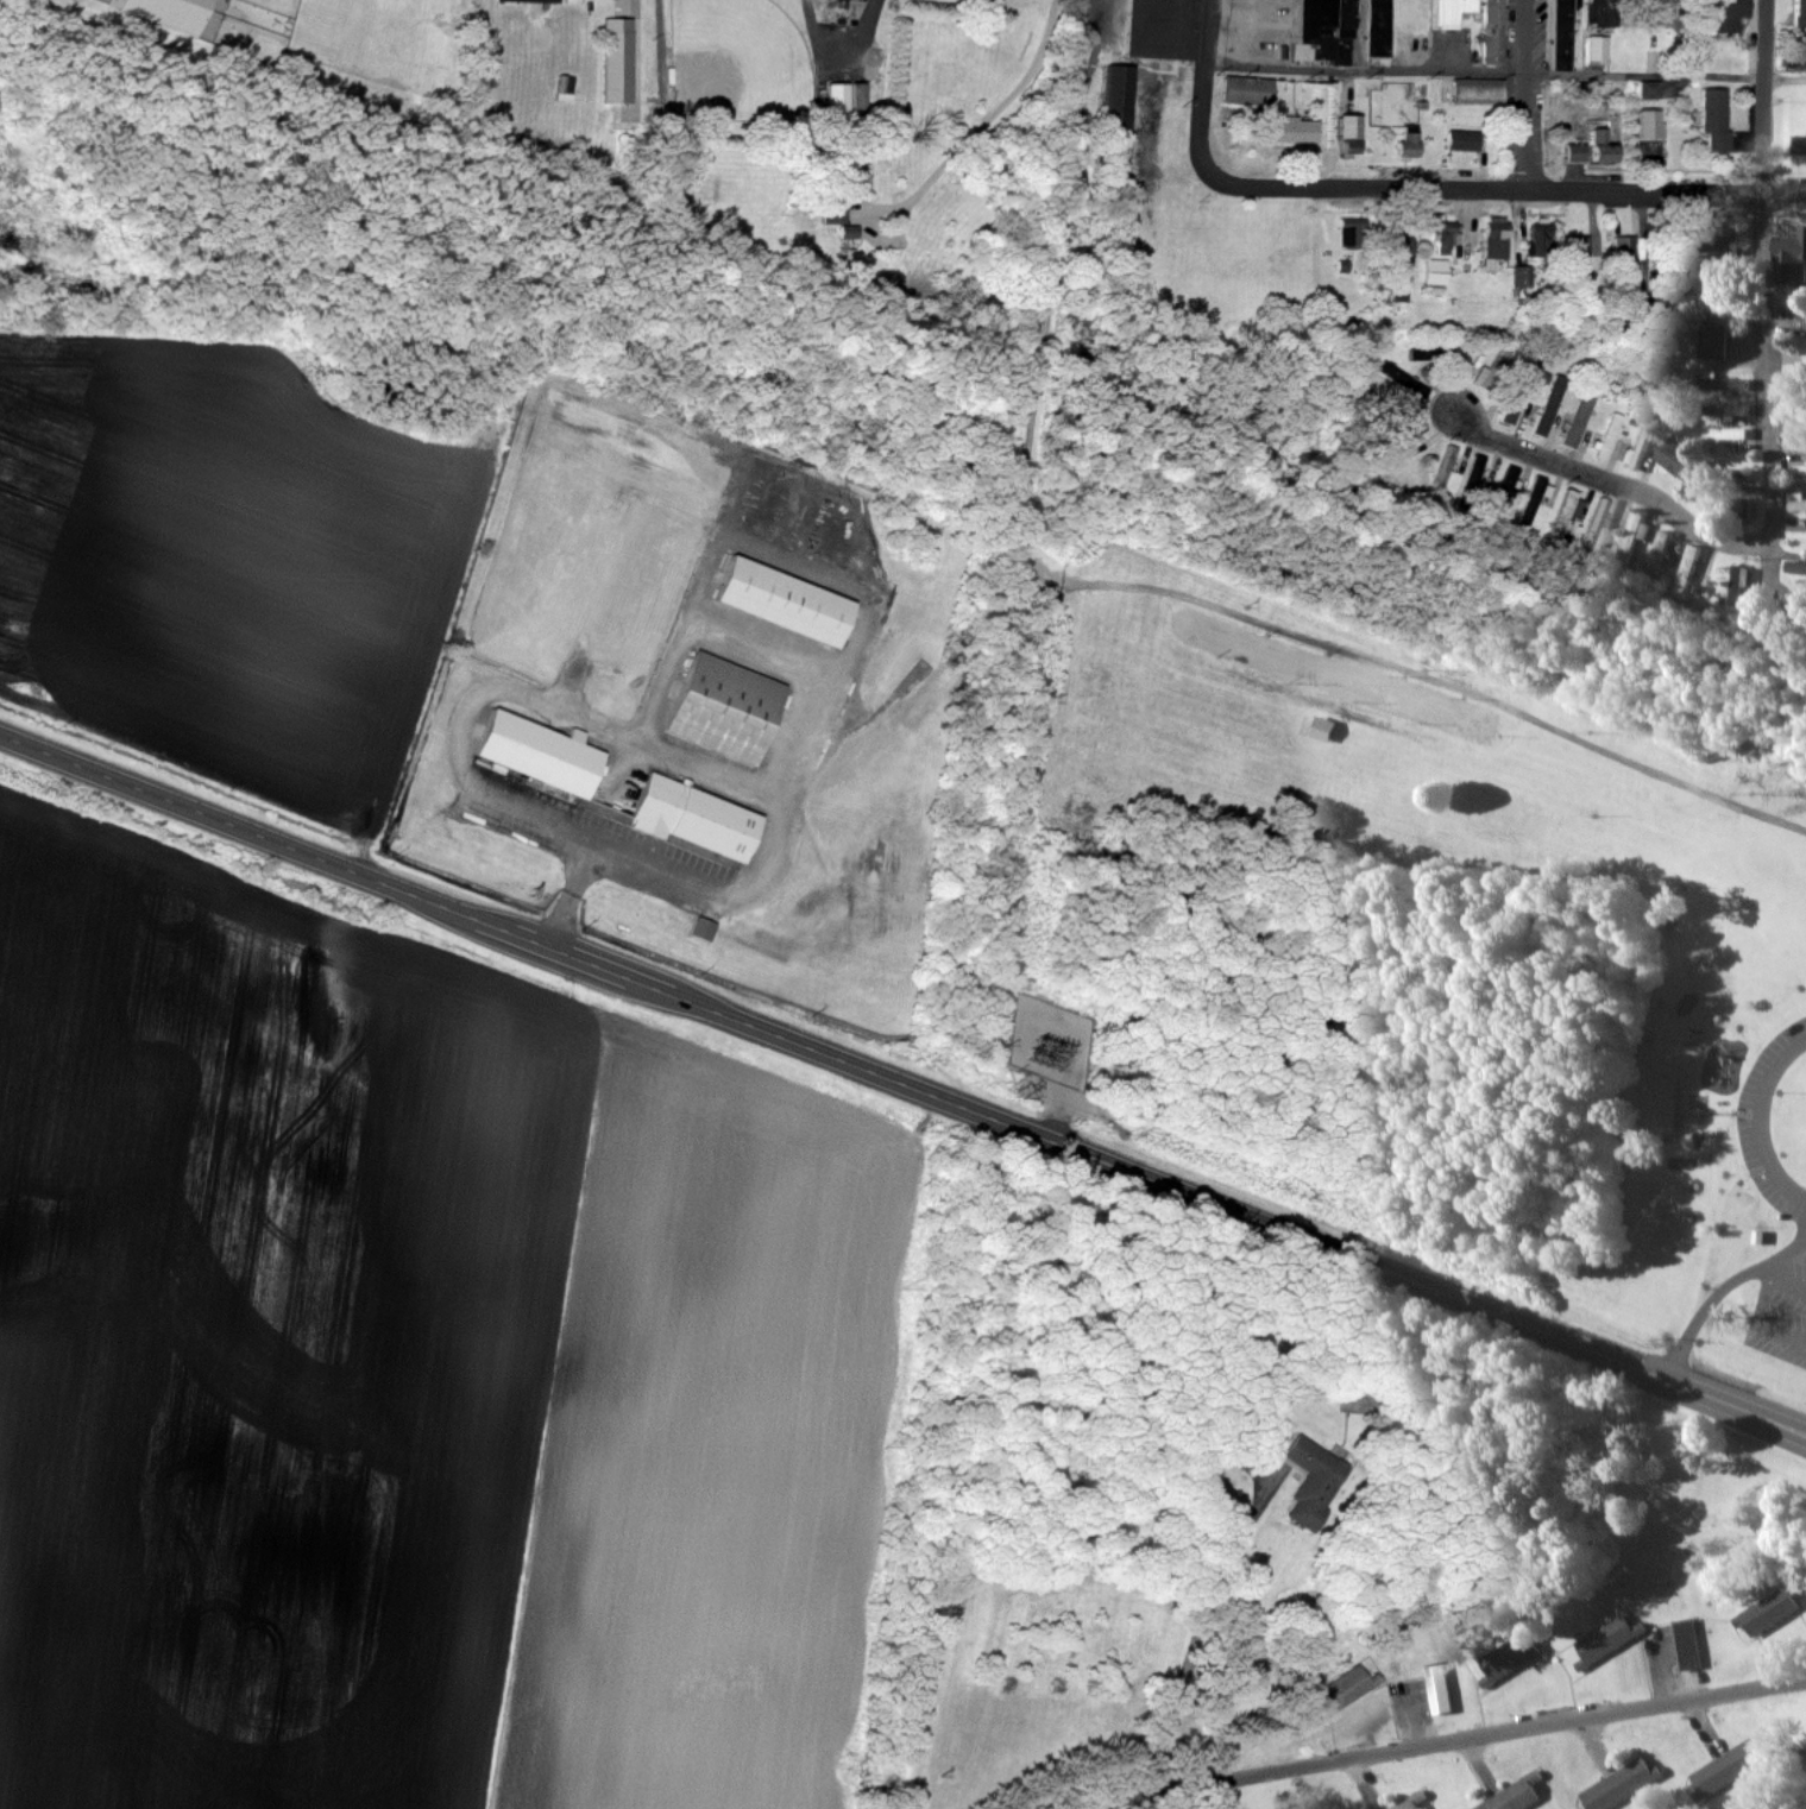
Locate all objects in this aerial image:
building: (399, 2)
building: (1453, 12)
building: (1800, 12)
building: (1663, 13)
building: (1736, 14)
building: (1164, 29)
building: (1345, 29)
building: (1497, 31)
building: (1599, 31)
building: (1565, 34)
road: (1486, 74)
road: (1786, 77)
building: (1651, 89)
road: (1203, 90)
building: (1248, 90)
building: (1479, 90)
road: (1766, 94)
road: (1519, 95)
building: (1120, 97)
building: (1718, 119)
road: (981, 125)
building: (1297, 130)
building: (1353, 137)
building: (1410, 141)
building: (1607, 147)
building: (1578, 151)
road: (1510, 190)
building: (1354, 234)
building: (1443, 237)
building: (1497, 238)
building: (1706, 239)
building: (1398, 240)
building: (1543, 244)
building: (1579, 251)
building: (1794, 267)
building: (1718, 341)
building: (1494, 368)
building: (1714, 379)
building: (1550, 410)
building: (1731, 410)
building: (1582, 417)
building: (1729, 434)
building: (1610, 435)
building: (1642, 443)
building: (1798, 445)
road: (1770, 468)
building: (1799, 469)
building: (1446, 472)
building: (1477, 479)
road: (1616, 483)
building: (1511, 487)
building: (1536, 500)
building: (1798, 504)
building: (1569, 513)
building: (1598, 525)
building: (1634, 532)
building: (1656, 554)
building: (1685, 568)
building: (1735, 576)
building: (789, 601)
road: (1456, 691)
building: (730, 708)
building: (1322, 730)
building: (546, 755)
building: (698, 819)
road: (571, 901)
park: (1397, 951)
road: (902, 1084)
road: (1755, 1123)
road: (1719, 1291)
road: (1804, 1340)
building: (1773, 1612)
road: (1208, 1625)
building: (1607, 1641)
building: (1512, 1657)
building: (1344, 1689)
building: (1442, 1697)
road: (1442, 1741)
building: (1624, 1784)
building: (1517, 1796)

